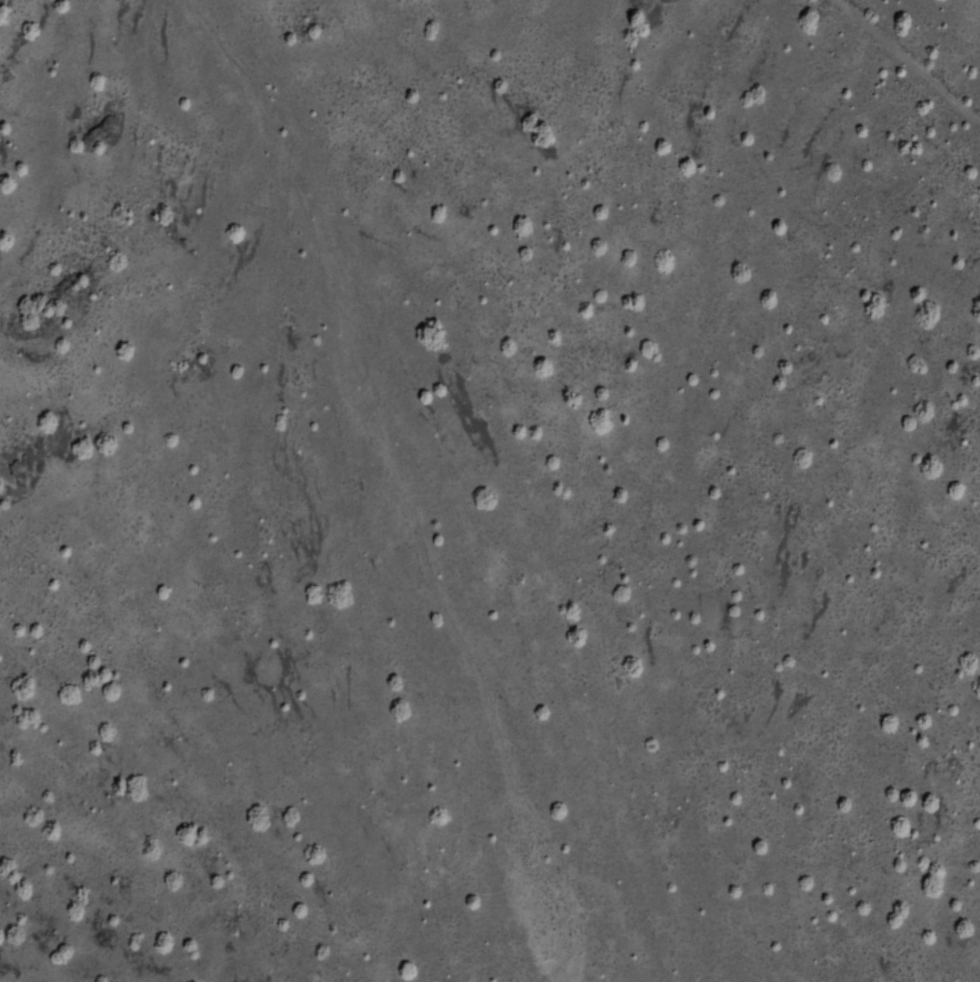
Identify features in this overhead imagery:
road: (911, 55)

